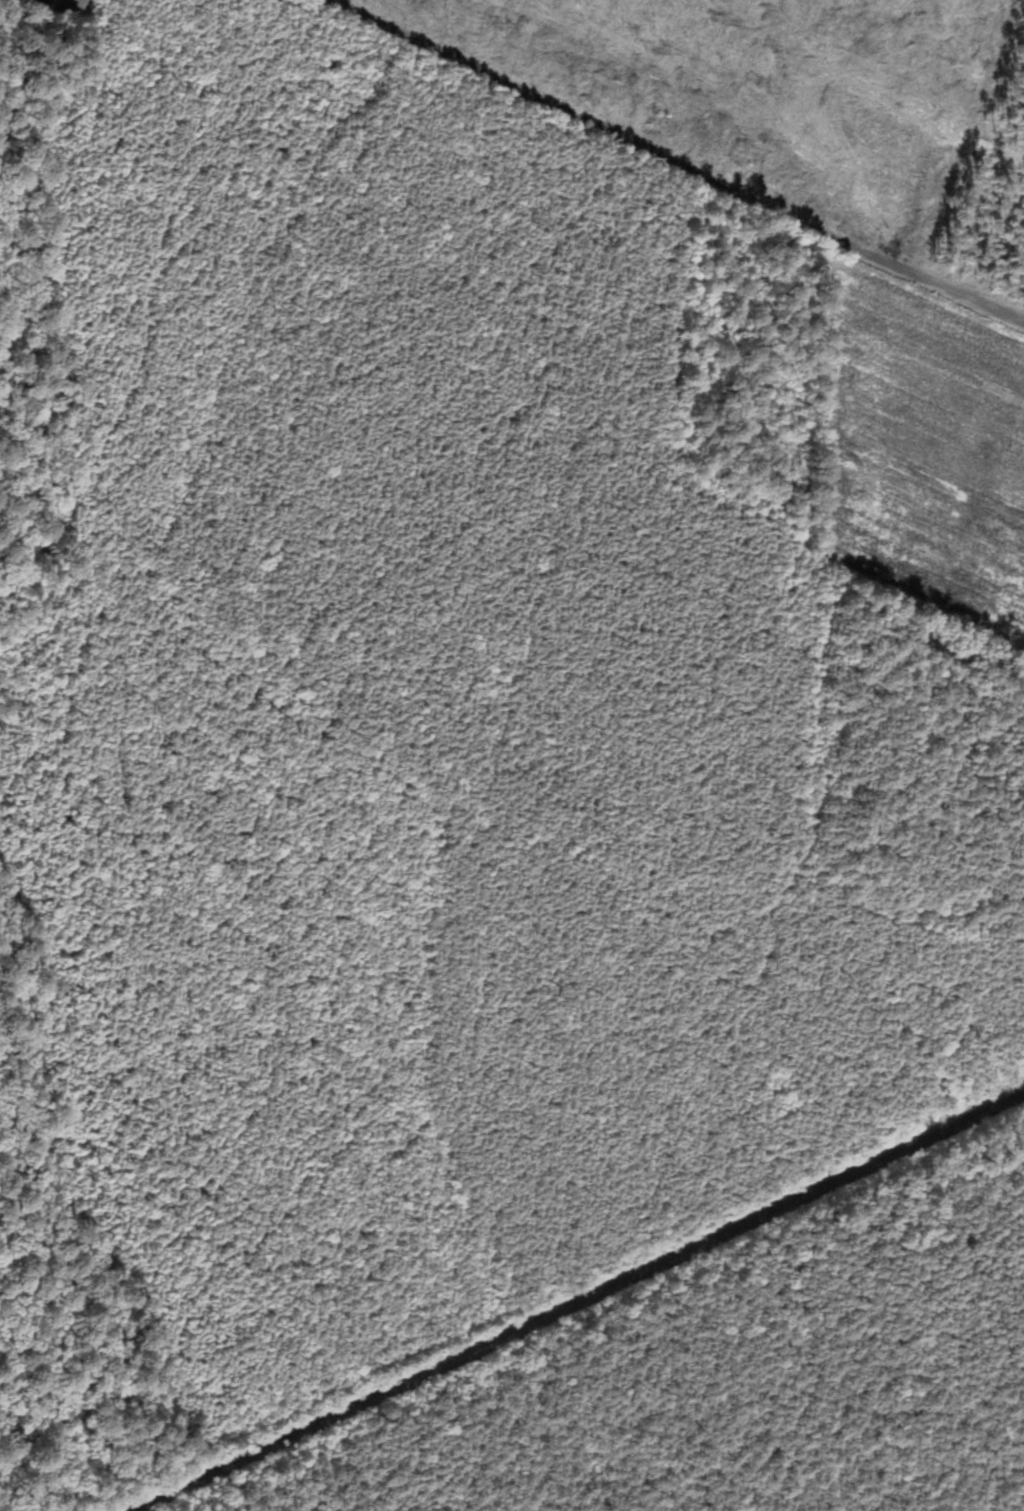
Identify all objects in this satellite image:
road: (684, 159)
railway: (580, 1301)

